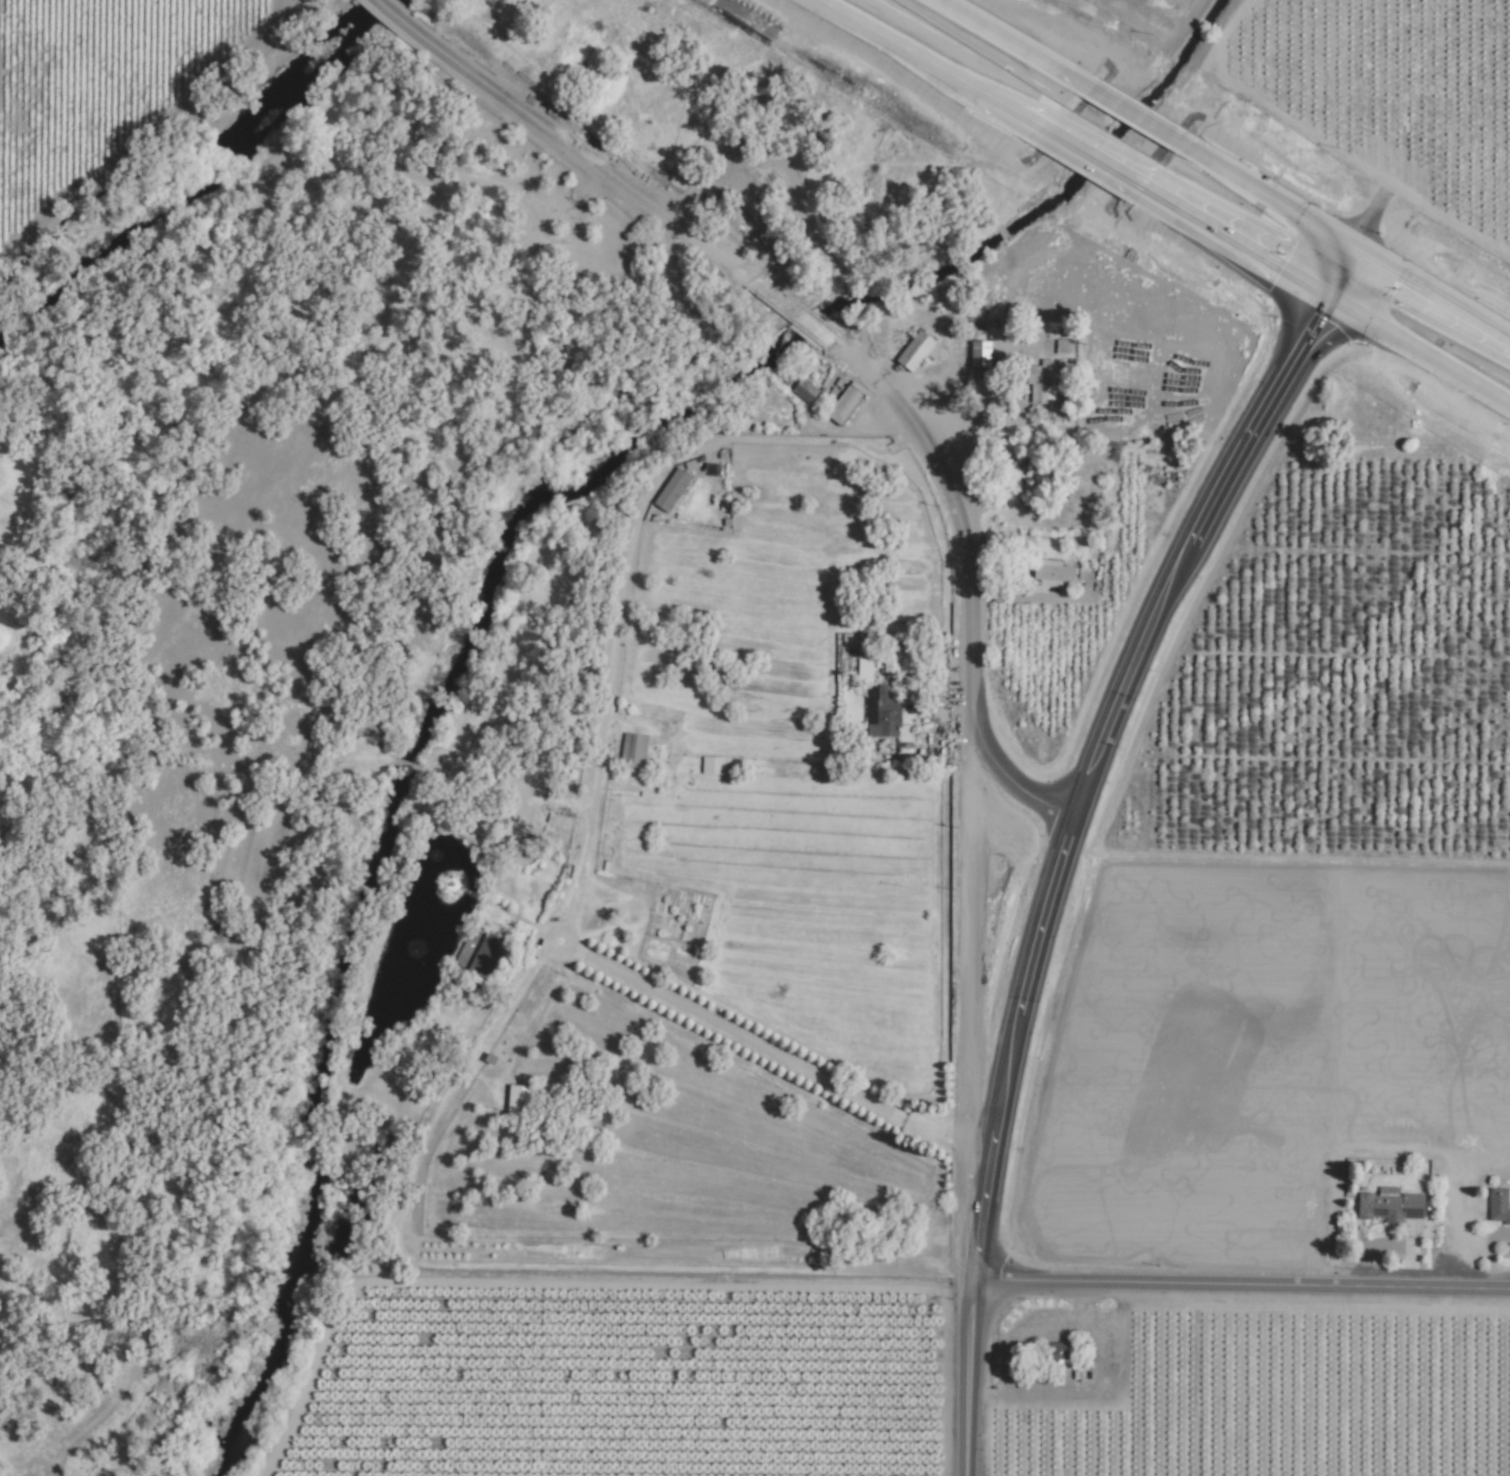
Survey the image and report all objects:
crop: (1137, 12)
road: (401, 20)
road: (1013, 43)
road: (928, 66)
crop: (1410, 84)
road: (1137, 114)
building: (1097, 156)
road: (1092, 158)
road: (596, 166)
road: (1271, 197)
road: (1232, 243)
traffic signals: (1359, 252)
road: (1434, 296)
traffic signals: (1330, 304)
road: (805, 322)
building: (1063, 346)
building: (915, 350)
building: (979, 354)
road: (1420, 356)
building: (1041, 382)
building: (804, 390)
building: (843, 407)
building: (671, 490)
road: (955, 514)
building: (1051, 572)
building: (885, 716)
building: (633, 749)
building: (712, 765)
crop: (789, 768)
road: (1005, 781)
road: (1070, 835)
building: (485, 955)
crop: (1251, 1047)
road: (768, 1051)
building: (519, 1102)
building: (1390, 1205)
building: (1499, 1206)
traffic signals: (975, 1283)
road: (1242, 1286)

